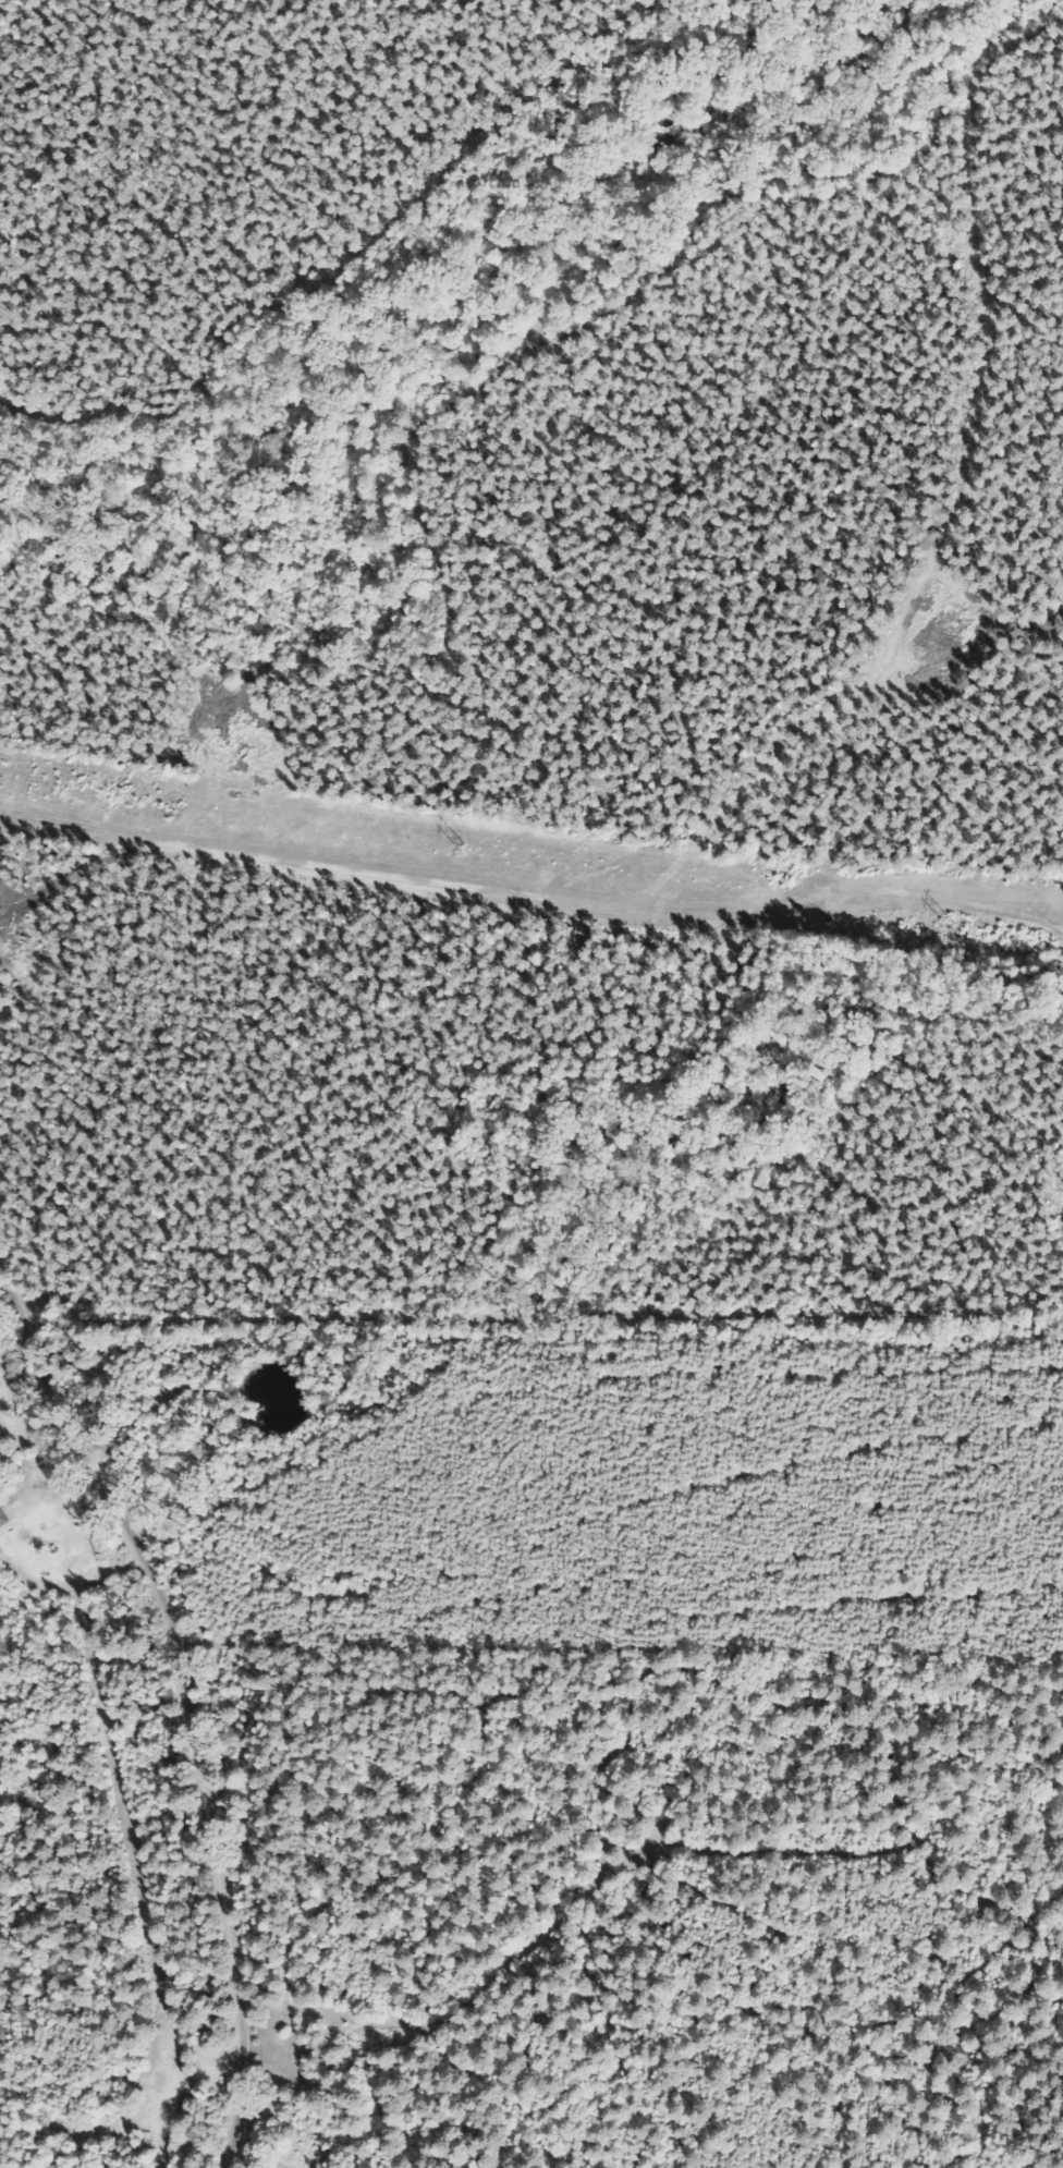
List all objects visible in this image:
road: (557, 1314)
road: (188, 1700)

